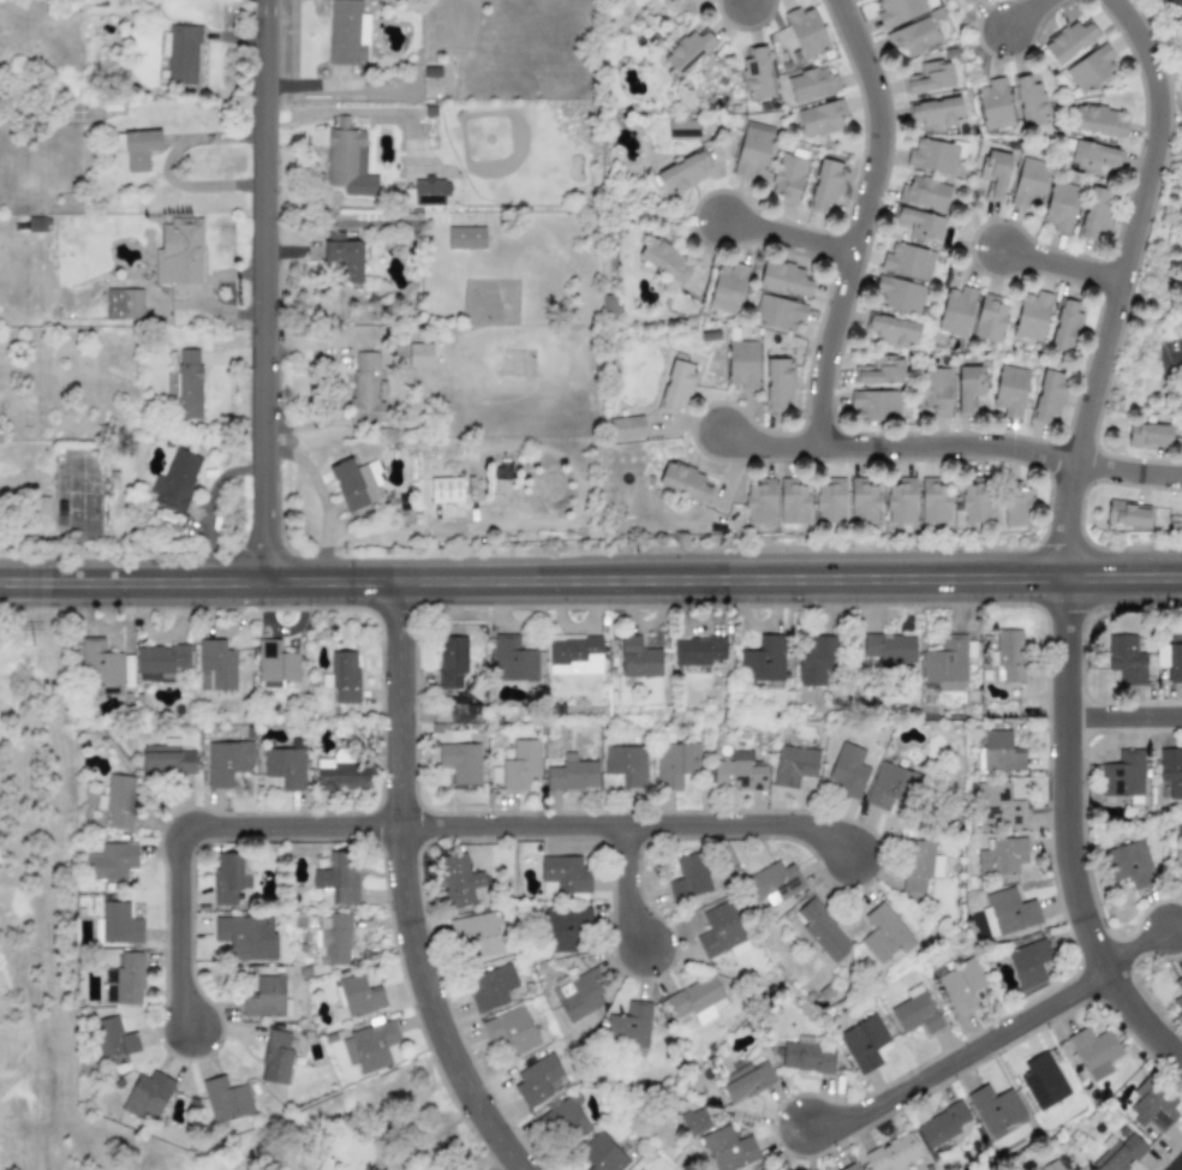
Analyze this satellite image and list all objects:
building: (948, 0)
building: (962, 0)
building: (664, 2)
building: (1175, 5)
building: (897, 11)
road: (1026, 12)
building: (805, 31)
building: (351, 34)
building: (912, 36)
building: (1069, 41)
building: (687, 52)
building: (184, 58)
building: (1091, 68)
building: (756, 73)
building: (930, 77)
building: (374, 80)
building: (432, 82)
building: (811, 85)
building: (1028, 102)
building: (993, 105)
building: (935, 112)
building: (77, 117)
building: (819, 118)
building: (1096, 121)
building: (682, 130)
building: (751, 150)
building: (1094, 155)
building: (148, 156)
building: (933, 156)
building: (348, 162)
building: (681, 172)
building: (993, 173)
building: (787, 177)
building: (1028, 183)
building: (824, 185)
building: (429, 193)
building: (924, 193)
building: (1059, 207)
building: (1094, 213)
road: (864, 219)
building: (920, 225)
road: (1141, 226)
road: (792, 232)
building: (335, 237)
building: (466, 237)
building: (183, 255)
building: (663, 259)
road: (1067, 259)
building: (907, 261)
building: (344, 262)
building: (783, 279)
building: (727, 288)
road: (269, 291)
building: (897, 296)
building: (90, 299)
building: (125, 304)
building: (956, 311)
building: (777, 314)
building: (1032, 316)
building: (1065, 324)
building: (893, 330)
building: (419, 356)
building: (741, 364)
building: (880, 371)
road: (1165, 376)
building: (676, 383)
building: (777, 383)
building: (189, 384)
building: (969, 387)
building: (365, 389)
building: (1009, 390)
building: (935, 392)
building: (1047, 395)
building: (877, 404)
building: (625, 428)
building: (1147, 436)
road: (772, 443)
road: (954, 443)
building: (72, 456)
building: (65, 458)
road: (1132, 466)
building: (178, 477)
building: (357, 482)
building: (682, 482)
building: (329, 488)
building: (444, 490)
road: (323, 501)
building: (830, 501)
building: (900, 501)
building: (932, 501)
building: (759, 502)
building: (792, 502)
building: (862, 502)
building: (975, 503)
building: (1016, 507)
building: (363, 513)
road: (1063, 513)
building: (1124, 514)
building: (169, 519)
building: (417, 519)
road: (395, 533)
building: (91, 547)
road: (591, 579)
building: (888, 647)
building: (698, 651)
building: (574, 655)
building: (1008, 657)
building: (637, 659)
building: (814, 659)
building: (513, 661)
building: (763, 661)
building: (1126, 661)
building: (1170, 661)
building: (160, 662)
building: (450, 663)
building: (948, 663)
building: (275, 665)
building: (215, 667)
building: (344, 677)
road: (1122, 710)
building: (999, 753)
building: (166, 758)
building: (460, 762)
building: (227, 763)
building: (676, 764)
building: (520, 765)
building: (626, 765)
building: (793, 765)
building: (285, 768)
building: (847, 770)
building: (1171, 771)
building: (738, 772)
building: (572, 775)
building: (1122, 776)
building: (890, 786)
building: (119, 801)
building: (997, 807)
road: (622, 820)
road: (184, 823)
road: (1064, 831)
building: (1002, 856)
building: (112, 861)
building: (1128, 864)
building: (919, 865)
building: (565, 874)
building: (689, 877)
building: (338, 878)
building: (223, 881)
building: (458, 882)
building: (772, 883)
road: (633, 884)
road: (401, 890)
building: (1010, 912)
building: (117, 924)
building: (563, 927)
building: (721, 932)
building: (884, 933)
building: (477, 935)
building: (246, 938)
building: (334, 939)
building: (1028, 962)
building: (129, 979)
building: (960, 986)
building: (490, 987)
building: (1178, 995)
building: (358, 996)
building: (580, 996)
building: (264, 997)
building: (697, 999)
building: (915, 1011)
building: (629, 1027)
building: (511, 1029)
road: (985, 1035)
building: (112, 1038)
building: (864, 1043)
building: (369, 1046)
building: (1093, 1052)
building: (275, 1058)
building: (805, 1058)
building: (538, 1080)
building: (746, 1081)
building: (1043, 1081)
building: (147, 1098)
building: (226, 1100)
building: (1152, 1106)
building: (996, 1110)
building: (565, 1123)
building: (696, 1123)
building: (942, 1124)
building: (729, 1150)
building: (1118, 1151)
building: (601, 1154)
building: (894, 1154)
road: (1174, 1162)
building: (1050, 1165)
building: (764, 1168)
building: (849, 1168)
building: (1079, 1169)

